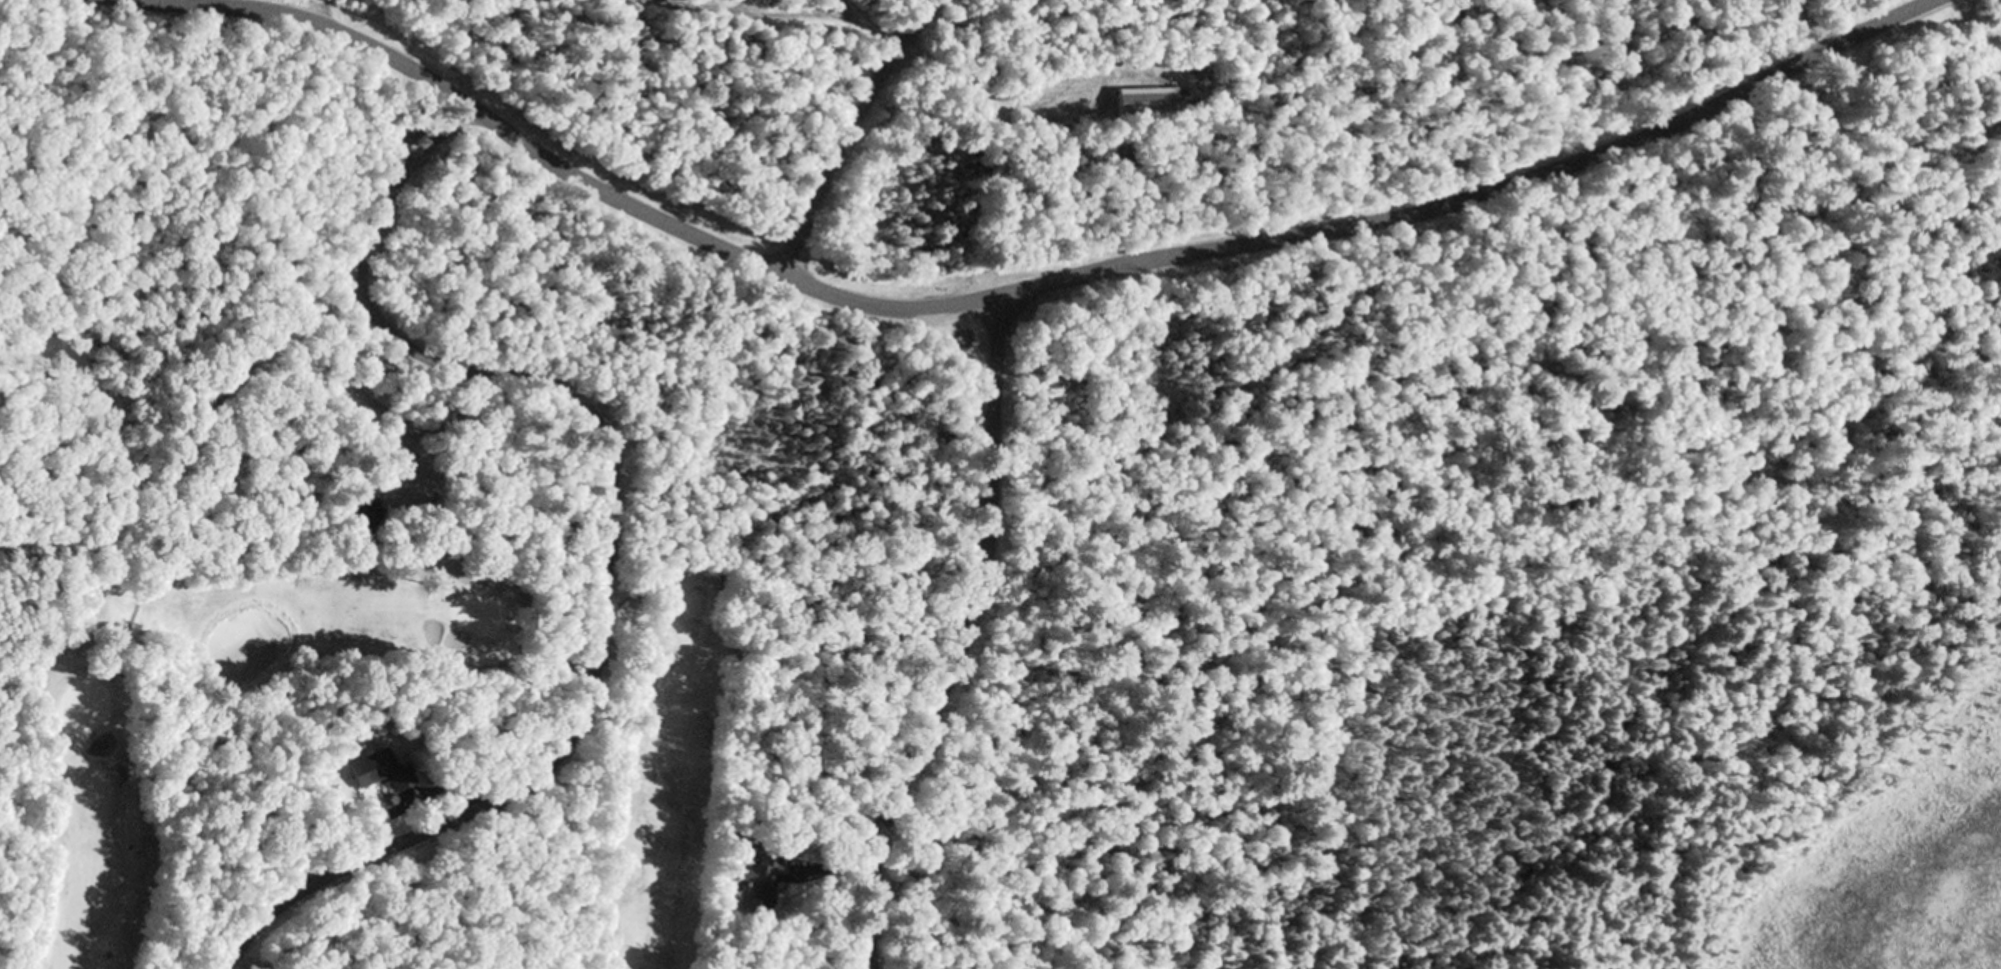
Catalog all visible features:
road: (711, 5)
road: (742, 6)
road: (322, 12)
road: (767, 13)
road: (855, 14)
quarry: (1431, 32)
building: (1144, 100)
road: (852, 136)
road: (1022, 293)
park: (915, 466)
road: (614, 544)
road: (968, 640)
building: (373, 772)
park: (438, 826)
building: (756, 884)

